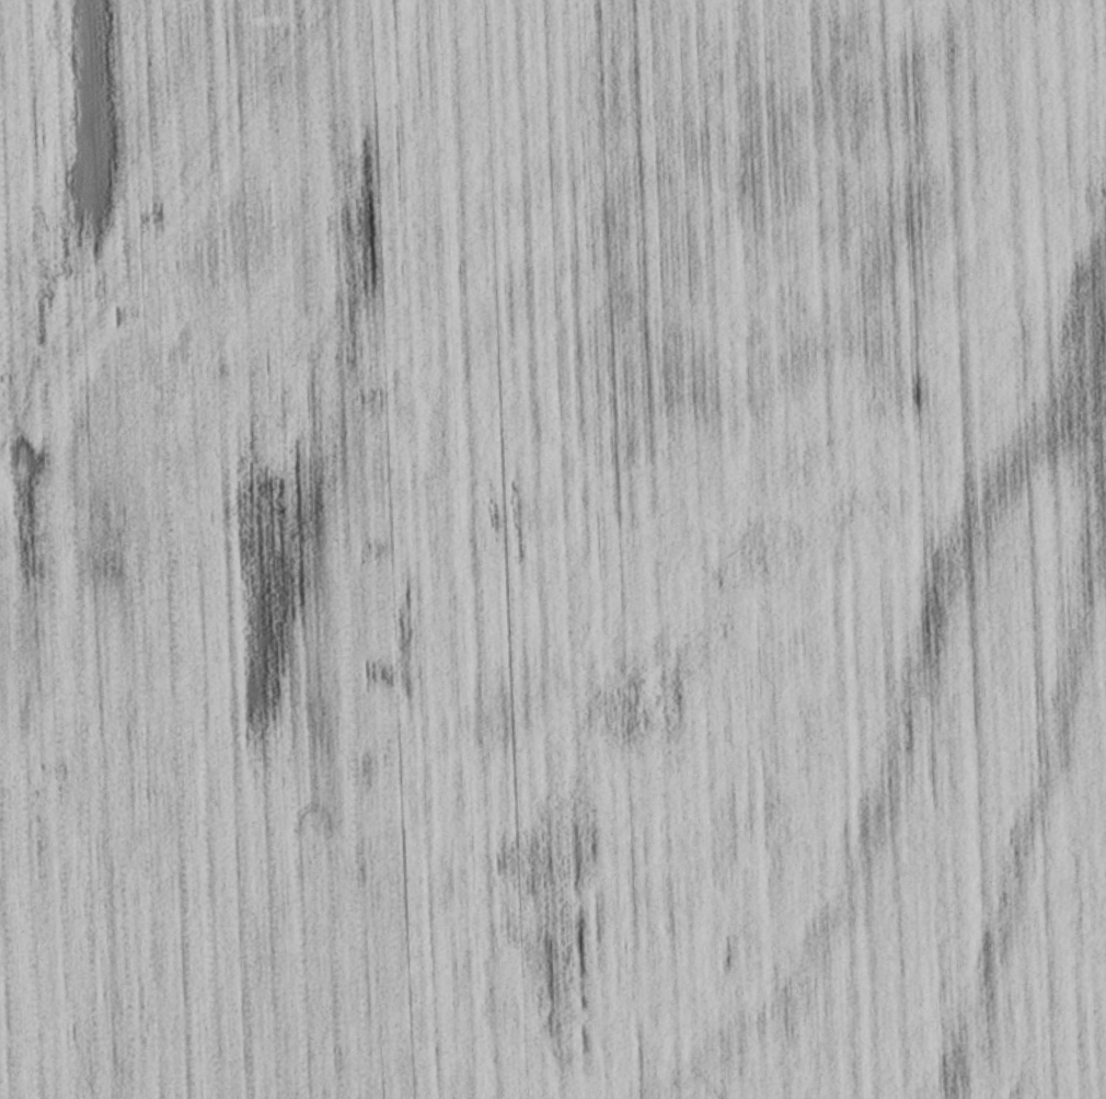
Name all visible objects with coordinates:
crop: (553, 549)

